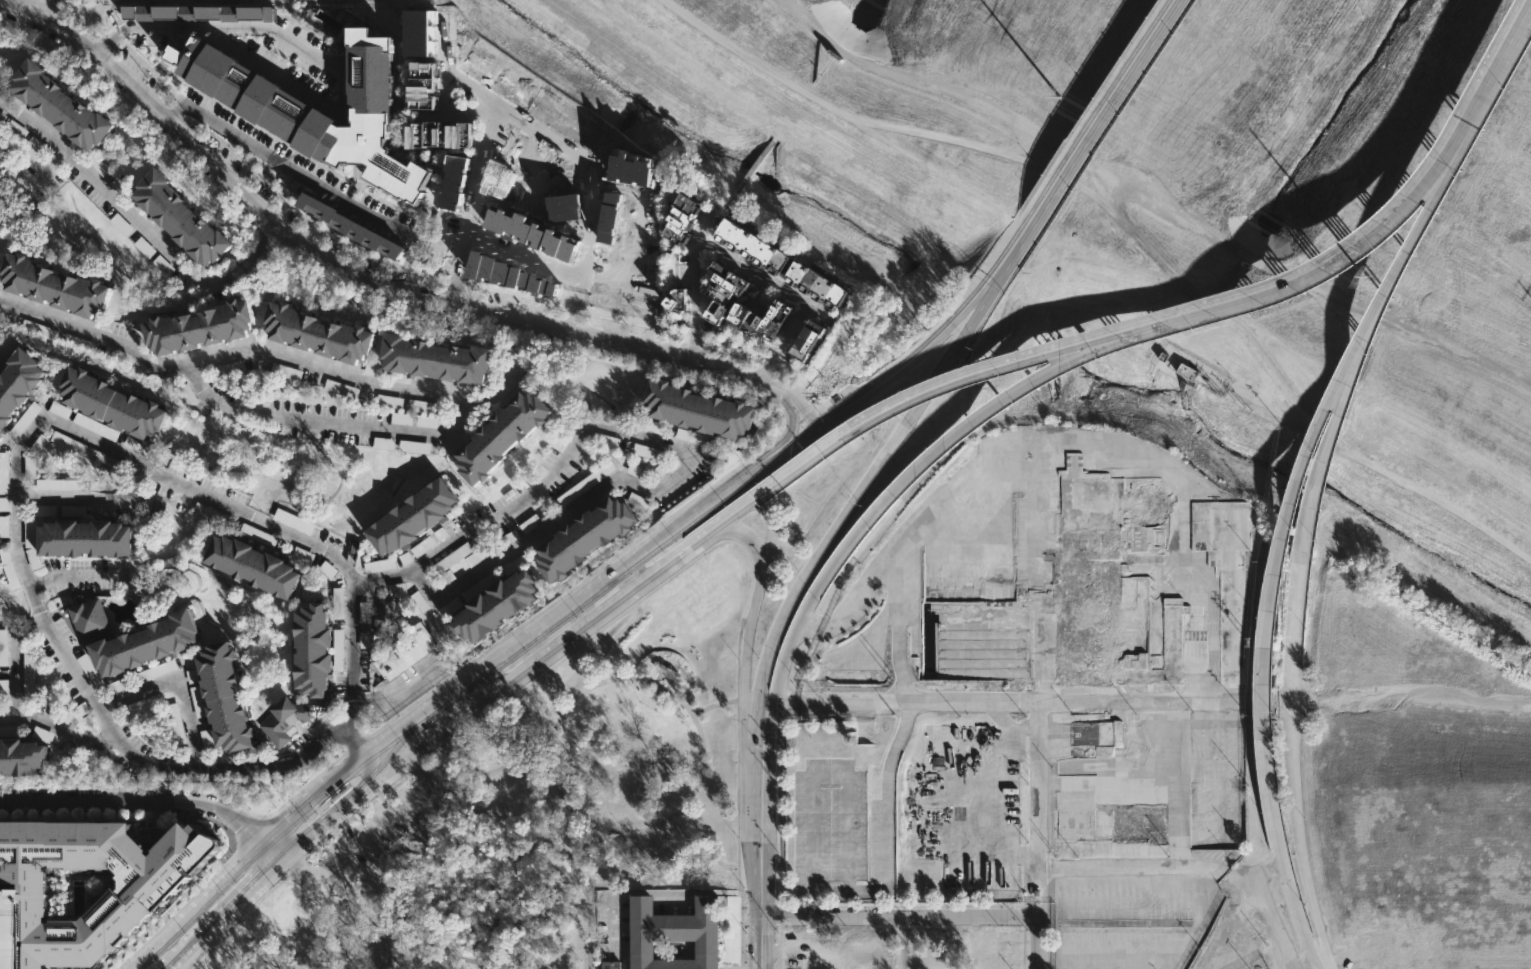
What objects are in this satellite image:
road: (32, 7)
building: (200, 13)
road: (311, 52)
road: (752, 58)
building: (415, 82)
road: (1489, 87)
power tower: (1064, 97)
railway: (1102, 102)
building: (66, 104)
building: (320, 104)
road: (1111, 105)
building: (431, 135)
road: (1027, 147)
road: (567, 149)
building: (4, 157)
road: (924, 163)
road: (1037, 166)
road: (44, 172)
road: (312, 182)
road: (1099, 182)
building: (456, 183)
road: (1153, 200)
road: (468, 206)
park: (1170, 216)
building: (172, 217)
building: (678, 220)
road: (139, 221)
building: (352, 226)
building: (537, 234)
building: (748, 244)
road: (1020, 244)
road: (521, 257)
road: (738, 264)
building: (163, 265)
road: (1132, 270)
road: (1311, 272)
road: (353, 276)
building: (512, 278)
power tower: (1369, 278)
building: (813, 283)
building: (722, 284)
building: (53, 285)
building: (680, 302)
railway: (962, 303)
road: (1217, 308)
building: (763, 319)
building: (197, 326)
building: (317, 333)
road: (1266, 335)
building: (803, 342)
road: (236, 351)
building: (436, 360)
road: (1194, 367)
road: (985, 370)
road: (1284, 379)
building: (21, 385)
road: (1011, 396)
building: (110, 403)
building: (60, 409)
building: (699, 410)
road: (804, 411)
railway: (828, 412)
building: (96, 426)
road: (355, 426)
road: (1336, 429)
building: (499, 436)
road: (782, 436)
road: (661, 441)
building: (72, 444)
road: (1309, 456)
road: (1383, 469)
building: (4, 473)
building: (586, 482)
building: (62, 484)
road: (731, 484)
road: (87, 500)
road: (756, 500)
building: (638, 501)
building: (407, 517)
building: (293, 521)
building: (4, 526)
building: (88, 538)
building: (583, 538)
road: (17, 541)
railway: (645, 556)
building: (33, 558)
building: (380, 565)
building: (250, 566)
building: (9, 568)
road: (673, 573)
road: (807, 576)
road: (75, 577)
road: (751, 579)
building: (338, 603)
road: (752, 606)
building: (492, 607)
road: (600, 614)
building: (383, 615)
building: (86, 619)
building: (0, 636)
road: (610, 639)
road: (573, 647)
building: (133, 648)
building: (308, 649)
road: (350, 649)
building: (338, 650)
building: (405, 651)
building: (119, 685)
road: (402, 685)
road: (595, 686)
road: (177, 687)
road: (774, 687)
building: (3, 689)
building: (29, 691)
building: (224, 697)
road: (712, 705)
road: (1411, 705)
road: (1031, 706)
road: (475, 707)
road: (18, 709)
road: (531, 719)
road: (411, 721)
building: (285, 722)
building: (177, 723)
building: (2, 731)
building: (43, 734)
road: (355, 738)
road: (418, 750)
road: (737, 755)
building: (24, 758)
road: (1293, 767)
road: (383, 777)
road: (399, 777)
road: (364, 778)
road: (454, 791)
road: (314, 797)
road: (139, 798)
railway: (329, 807)
park: (537, 808)
road: (1045, 811)
road: (321, 815)
road: (322, 826)
road: (375, 831)
road: (564, 831)
building: (46, 841)
railway: (272, 841)
road: (704, 842)
railway: (287, 845)
road: (277, 846)
building: (137, 852)
road: (1129, 866)
road: (333, 873)
road: (1267, 873)
road: (1284, 873)
road: (365, 875)
road: (549, 884)
road: (259, 885)
road: (812, 888)
road: (645, 891)
road: (197, 904)
road: (1274, 913)
road: (414, 915)
road: (740, 917)
road: (902, 917)
road: (317, 924)
building: (674, 933)
road: (200, 942)
road: (1043, 942)
road: (902, 943)
road: (761, 945)
road: (1167, 952)
road: (1342, 956)
road: (1153, 960)
road: (475, 961)
road: (1078, 961)
building: (611, 964)

